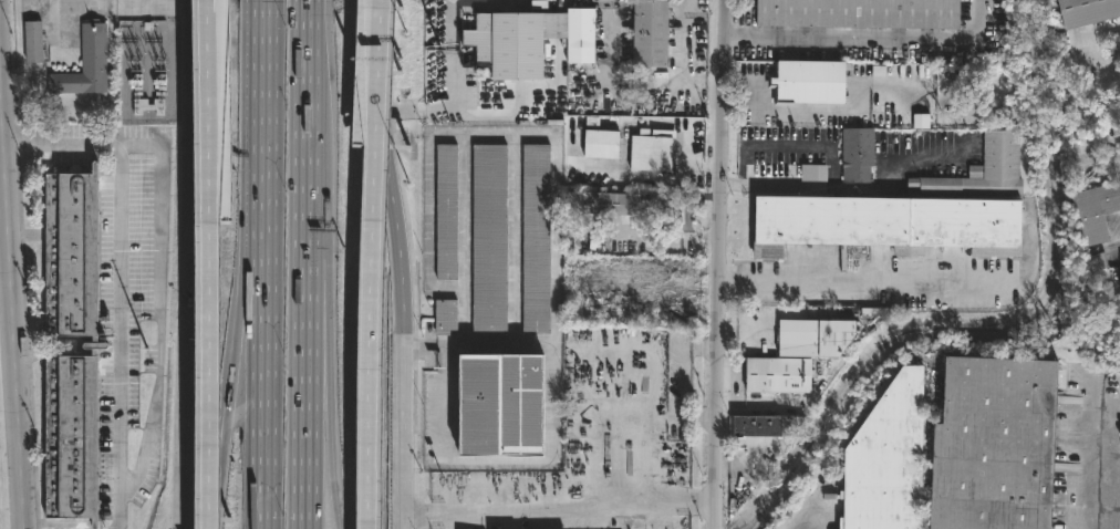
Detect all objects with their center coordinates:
road: (464, 2)
road: (261, 6)
road: (303, 7)
building: (1090, 11)
building: (863, 13)
building: (652, 34)
building: (580, 37)
road: (873, 40)
building: (33, 41)
building: (512, 42)
road: (393, 56)
road: (458, 59)
building: (87, 65)
road: (380, 73)
power substation: (146, 74)
building: (807, 81)
road: (214, 110)
road: (786, 113)
building: (603, 144)
building: (654, 152)
road: (259, 153)
building: (859, 153)
building: (985, 169)
building: (815, 174)
road: (728, 183)
road: (765, 183)
building: (637, 209)
building: (1095, 211)
building: (447, 212)
building: (884, 225)
building: (490, 240)
building: (537, 240)
road: (719, 263)
road: (187, 264)
road: (303, 270)
road: (864, 278)
road: (120, 279)
road: (159, 304)
road: (9, 308)
road: (315, 311)
building: (447, 318)
road: (395, 320)
power tower: (147, 334)
road: (373, 336)
building: (812, 339)
road: (260, 342)
road: (243, 343)
building: (96, 345)
road: (474, 346)
road: (212, 375)
building: (775, 376)
road: (680, 404)
building: (497, 408)
road: (697, 419)
building: (767, 427)
road: (601, 437)
building: (994, 445)
road: (330, 446)
road: (262, 459)
road: (221, 460)
building: (886, 460)
road: (1100, 463)
road: (497, 466)
park: (0, 507)
road: (558, 509)
road: (808, 514)

